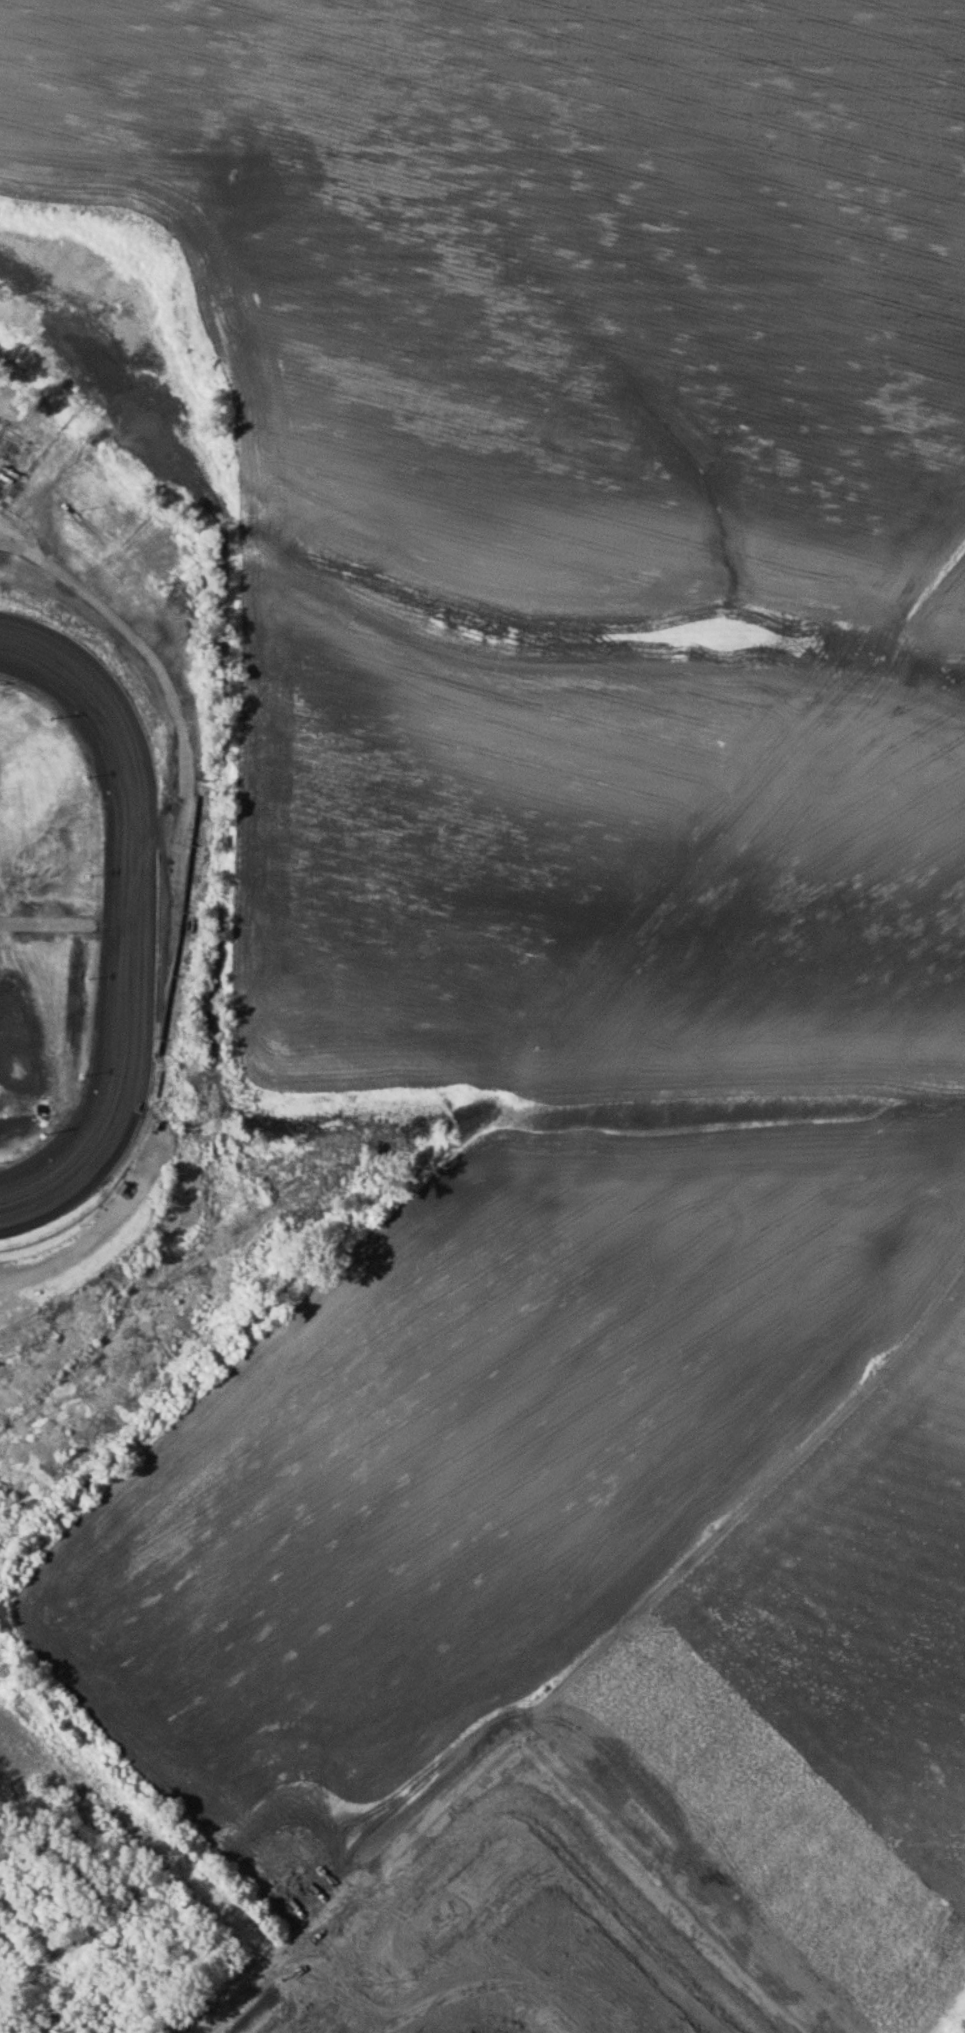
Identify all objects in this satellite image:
raceway: (129, 950)
crop: (566, 990)
road: (235, 1998)

